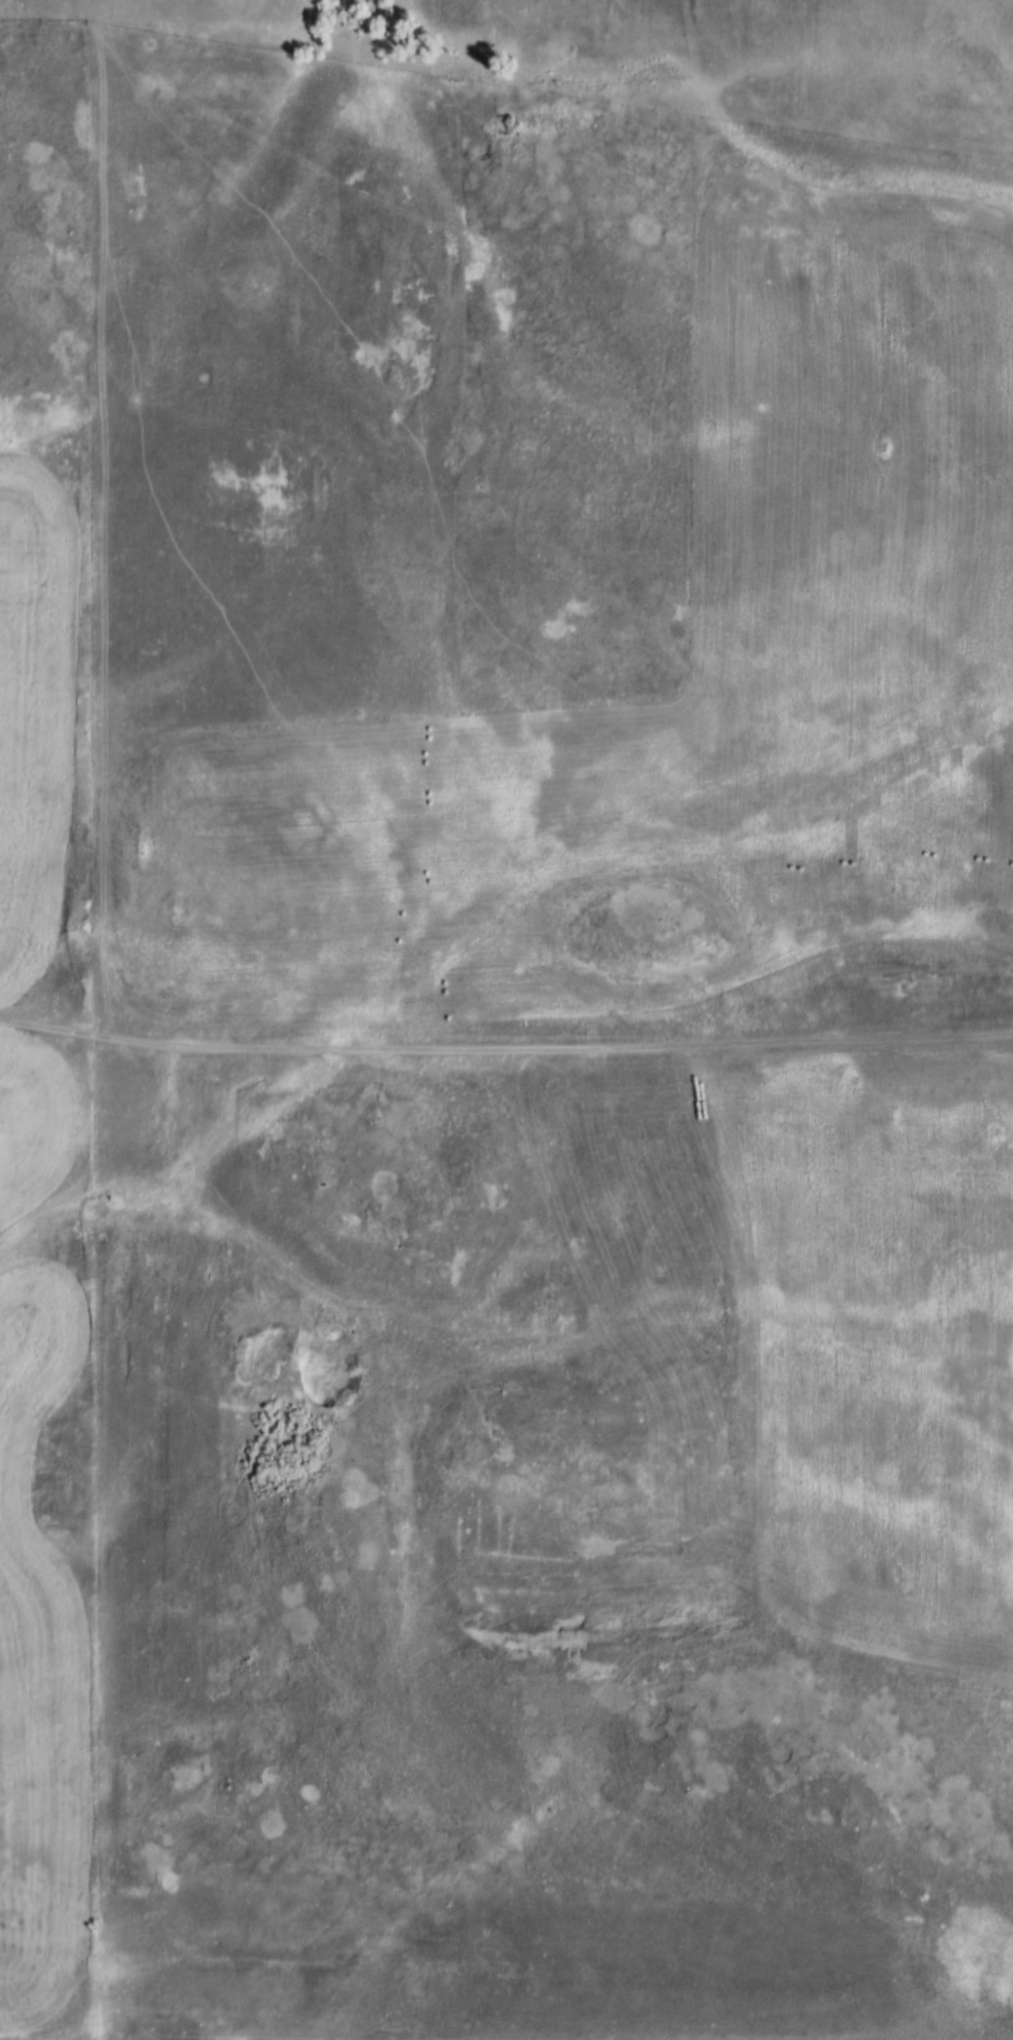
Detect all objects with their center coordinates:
road: (505, 1051)

